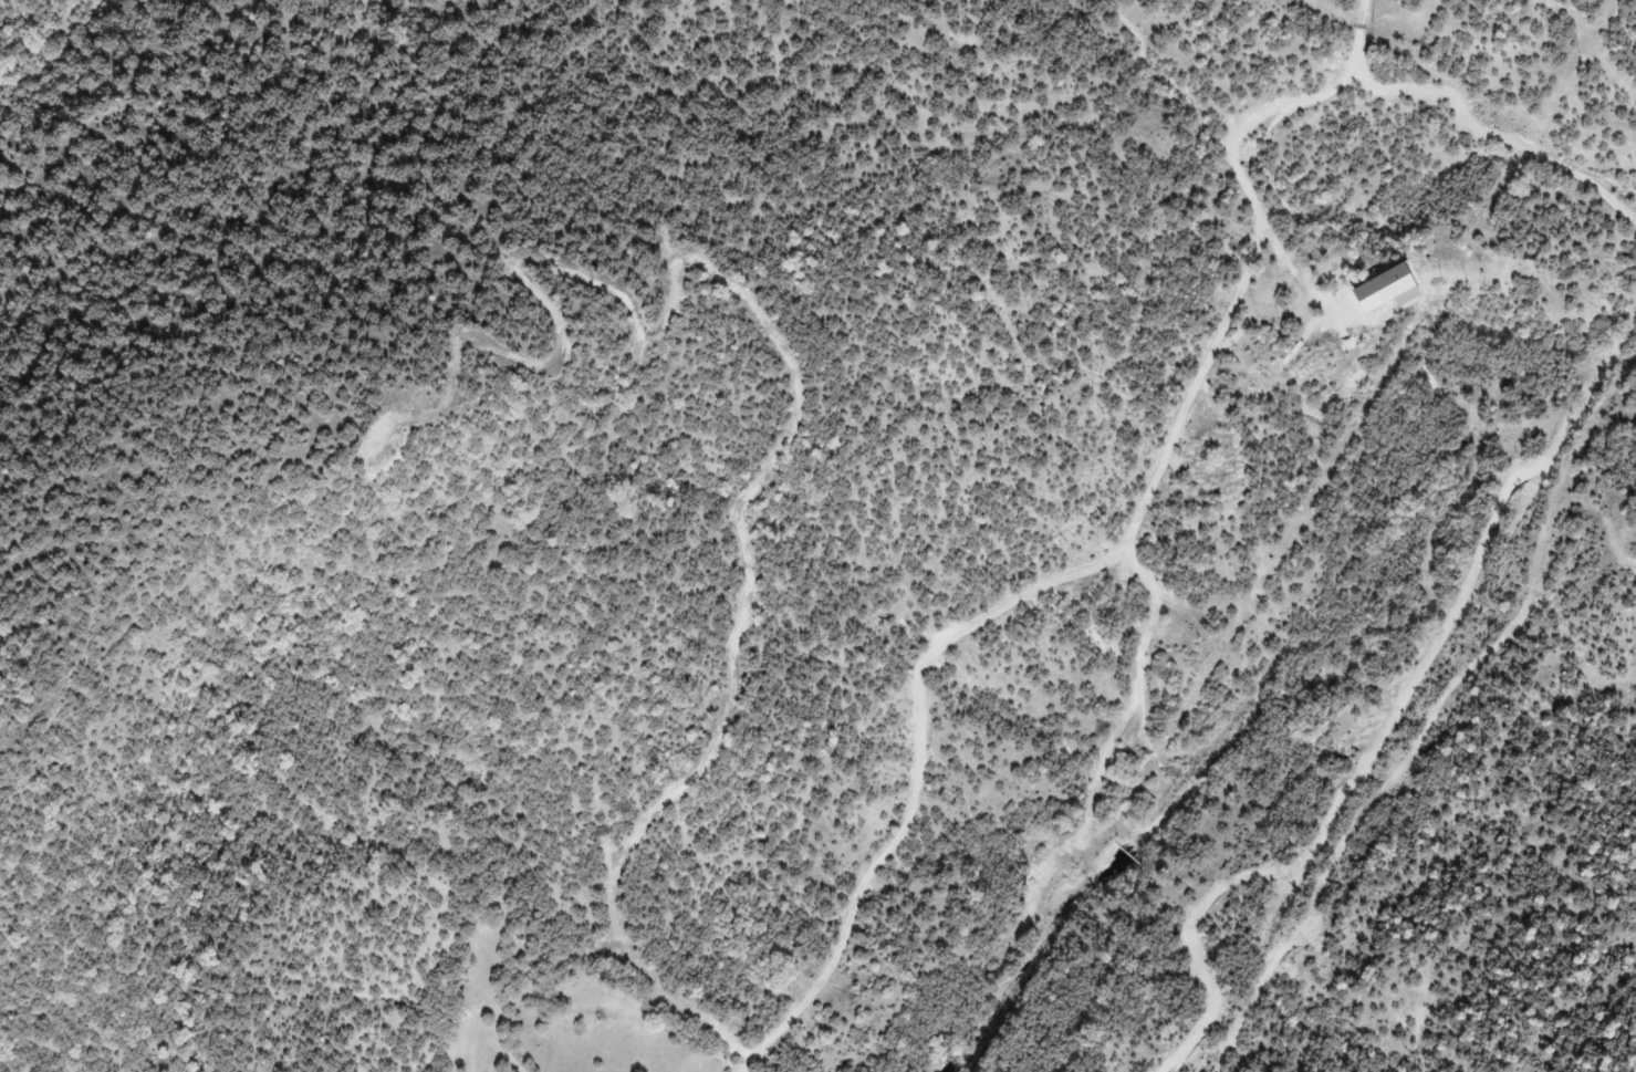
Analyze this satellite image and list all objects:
road: (1101, 559)

